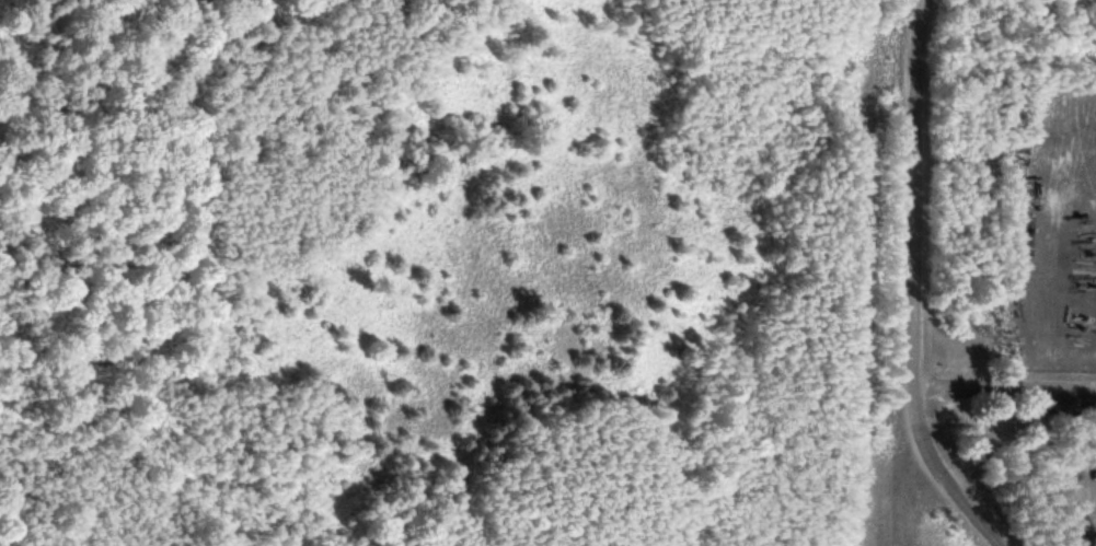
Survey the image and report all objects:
building: (1007, 119)
road: (916, 284)

